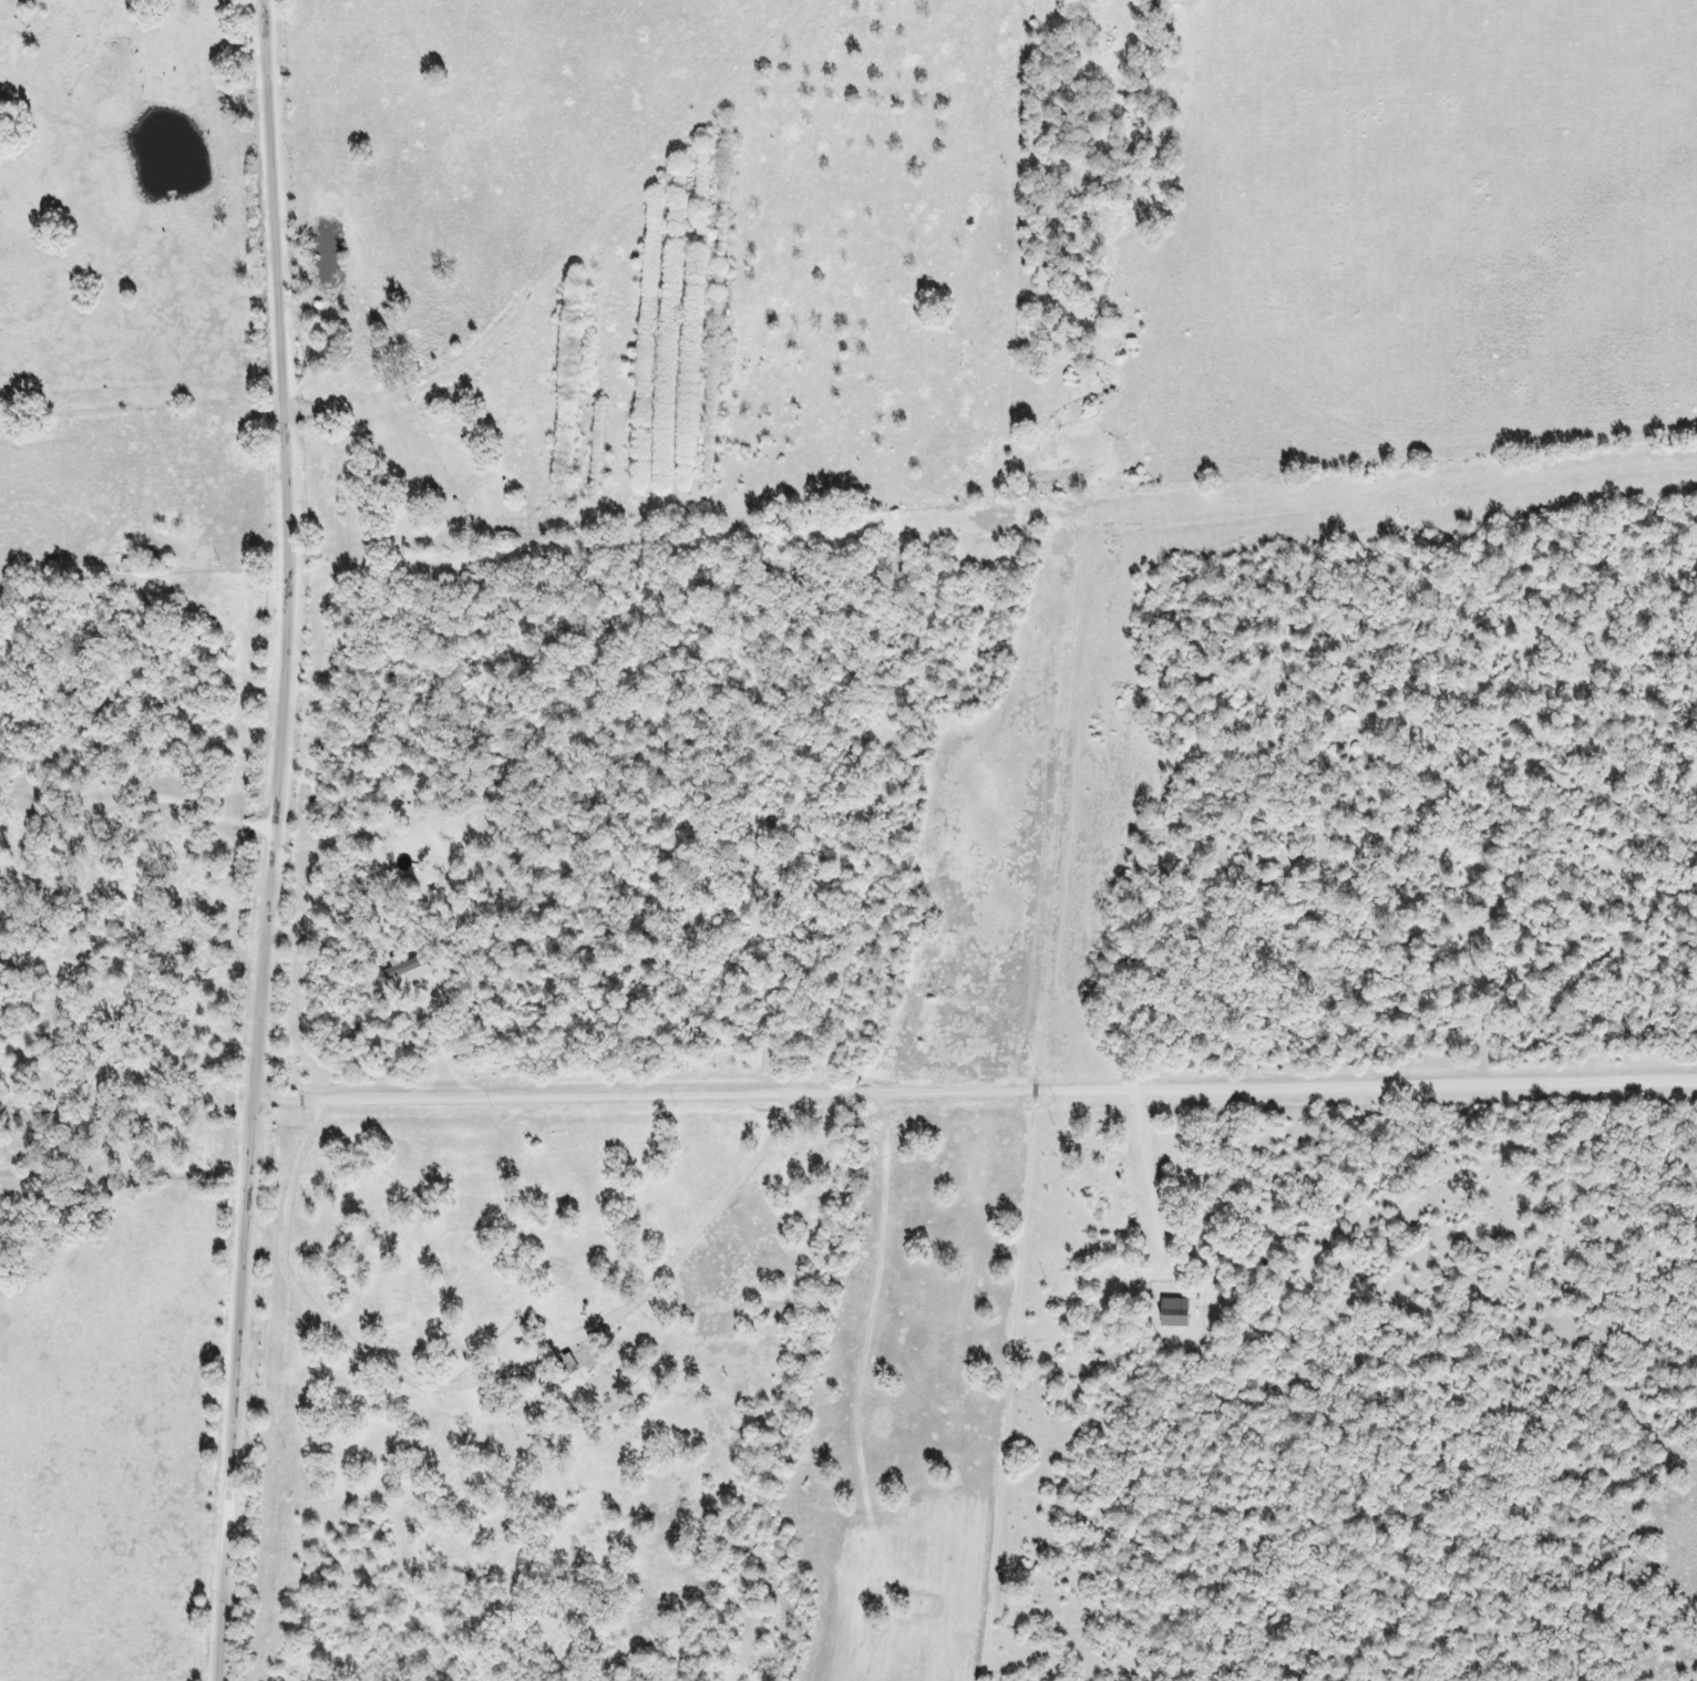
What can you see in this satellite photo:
road: (278, 840)
building: (1171, 1311)
building: (565, 1364)

